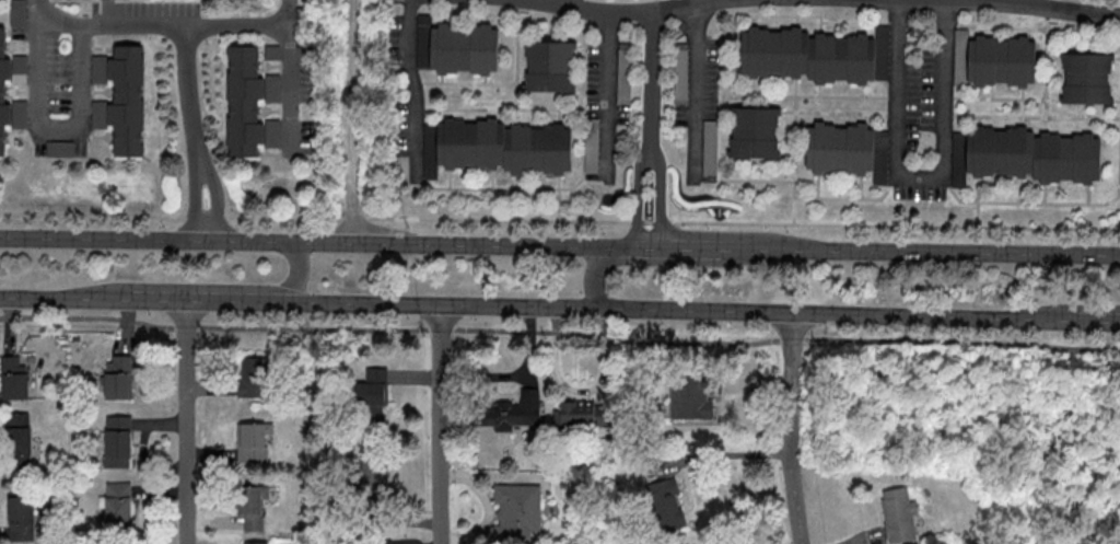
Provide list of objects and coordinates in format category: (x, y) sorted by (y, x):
road: (701, 1)
road: (1011, 7)
road: (629, 12)
building: (17, 13)
road: (152, 26)
building: (457, 47)
building: (816, 55)
building: (995, 60)
building: (550, 68)
road: (290, 77)
building: (1087, 79)
road: (652, 82)
road: (191, 90)
road: (412, 90)
building: (2, 91)
road: (699, 92)
road: (610, 96)
building: (122, 99)
building: (250, 104)
park: (354, 108)
road: (351, 121)
road: (58, 130)
building: (756, 134)
building: (501, 147)
building: (847, 150)
building: (1026, 155)
road: (920, 181)
road: (214, 195)
road: (192, 196)
road: (639, 198)
road: (661, 199)
road: (559, 220)
road: (396, 244)
road: (956, 253)
road: (674, 261)
road: (202, 289)
road: (302, 303)
road: (1069, 311)
road: (810, 313)
road: (1069, 319)
road: (559, 333)
building: (15, 377)
building: (118, 377)
building: (253, 378)
building: (372, 395)
building: (693, 396)
building: (512, 410)
building: (581, 414)
road: (185, 424)
road: (442, 425)
road: (791, 428)
building: (19, 439)
building: (118, 440)
building: (254, 441)
road: (725, 455)
building: (374, 478)
building: (118, 506)
building: (666, 507)
building: (253, 508)
building: (516, 514)
building: (900, 516)
building: (22, 518)
building: (255, 543)
building: (373, 543)

